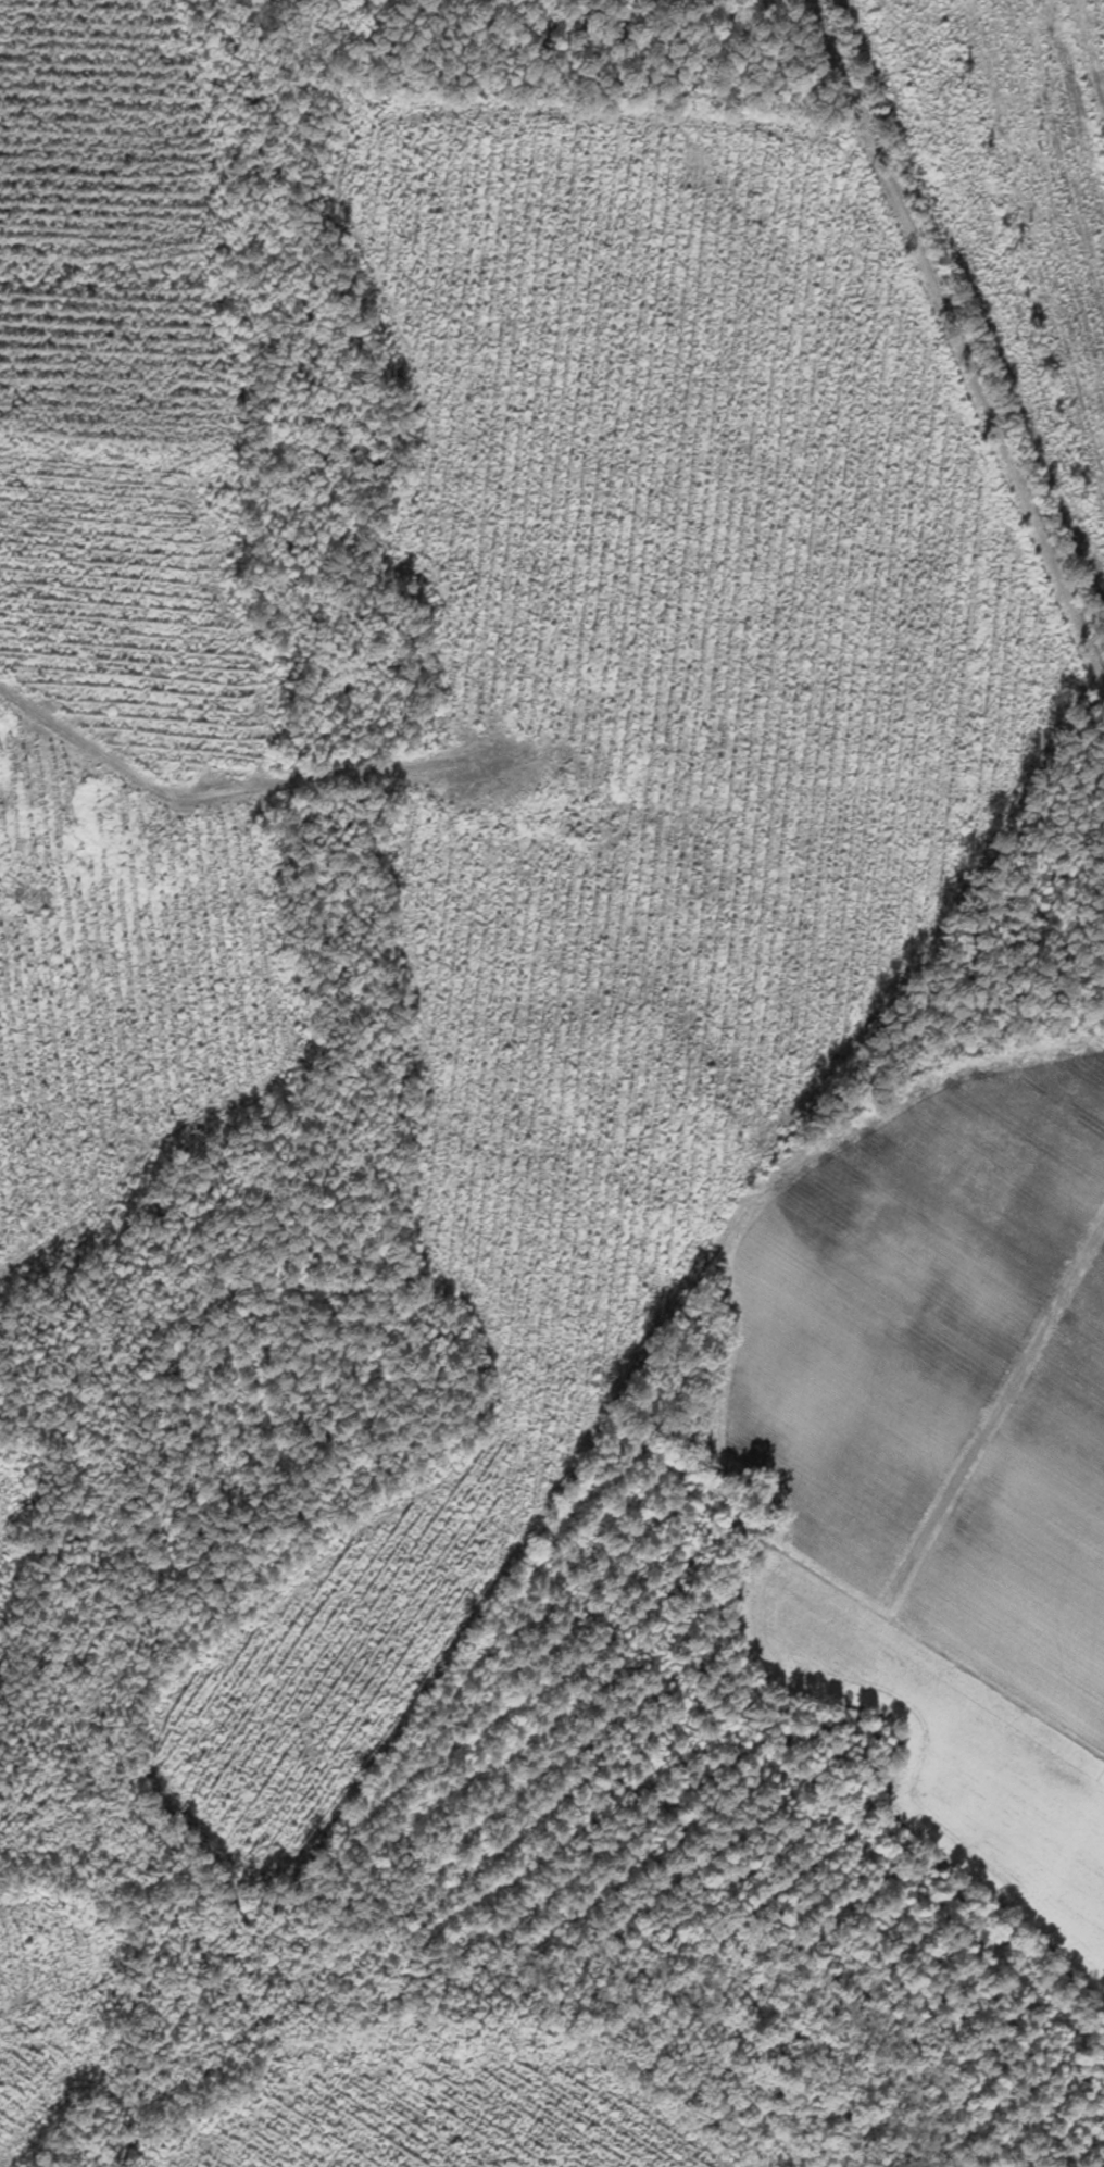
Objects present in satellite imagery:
road: (969, 308)

